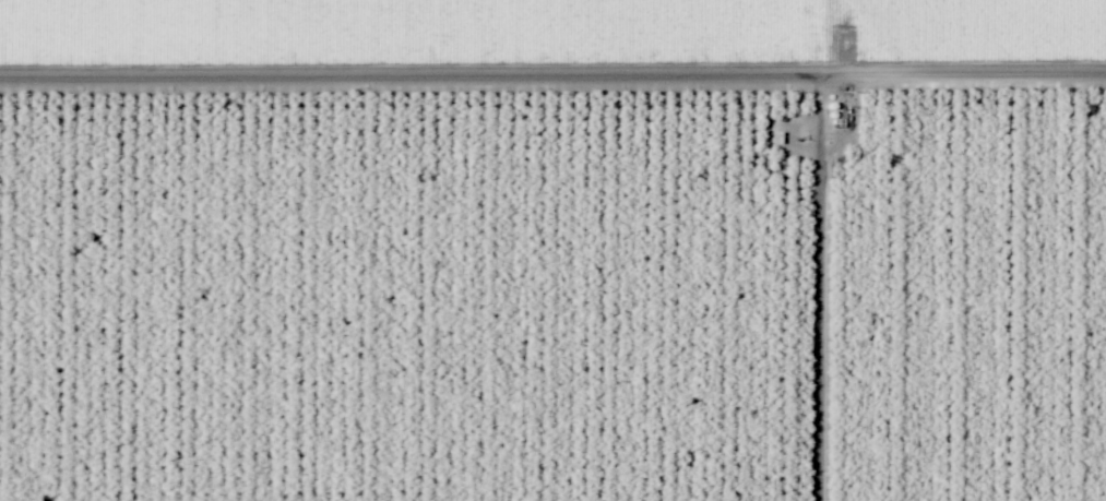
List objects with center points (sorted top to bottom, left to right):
crop: (551, 56)
road: (552, 83)

